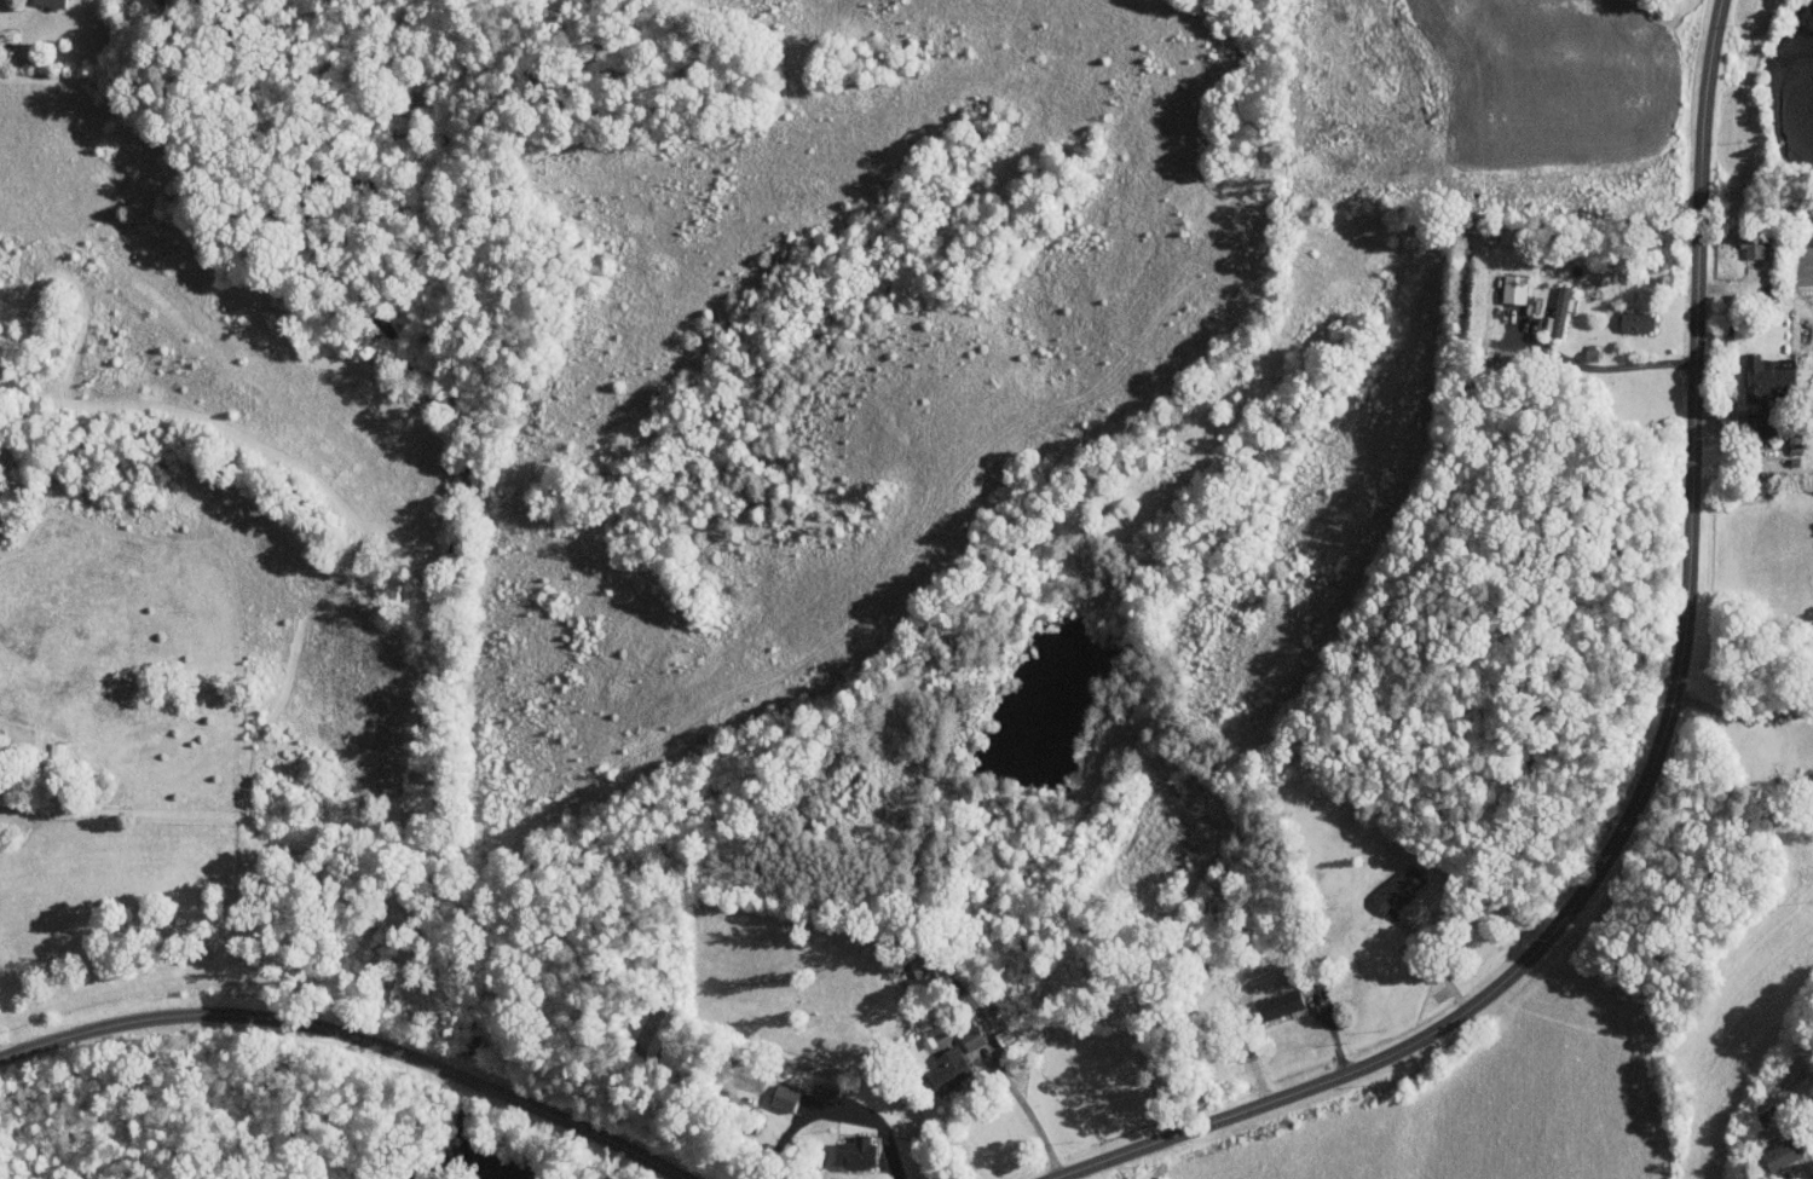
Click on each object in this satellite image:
building: (51, 2)
building: (1756, 248)
building: (1560, 312)
building: (1639, 322)
road: (1599, 368)
building: (1768, 376)
building: (1771, 422)
road: (1743, 715)
road: (1657, 758)
building: (1401, 888)
road: (1434, 963)
building: (1281, 1004)
road: (353, 1035)
road: (1067, 1035)
road: (1247, 1036)
building: (974, 1038)
building: (951, 1070)
building: (785, 1097)
road: (837, 1109)
building: (858, 1154)
building: (1783, 1154)

